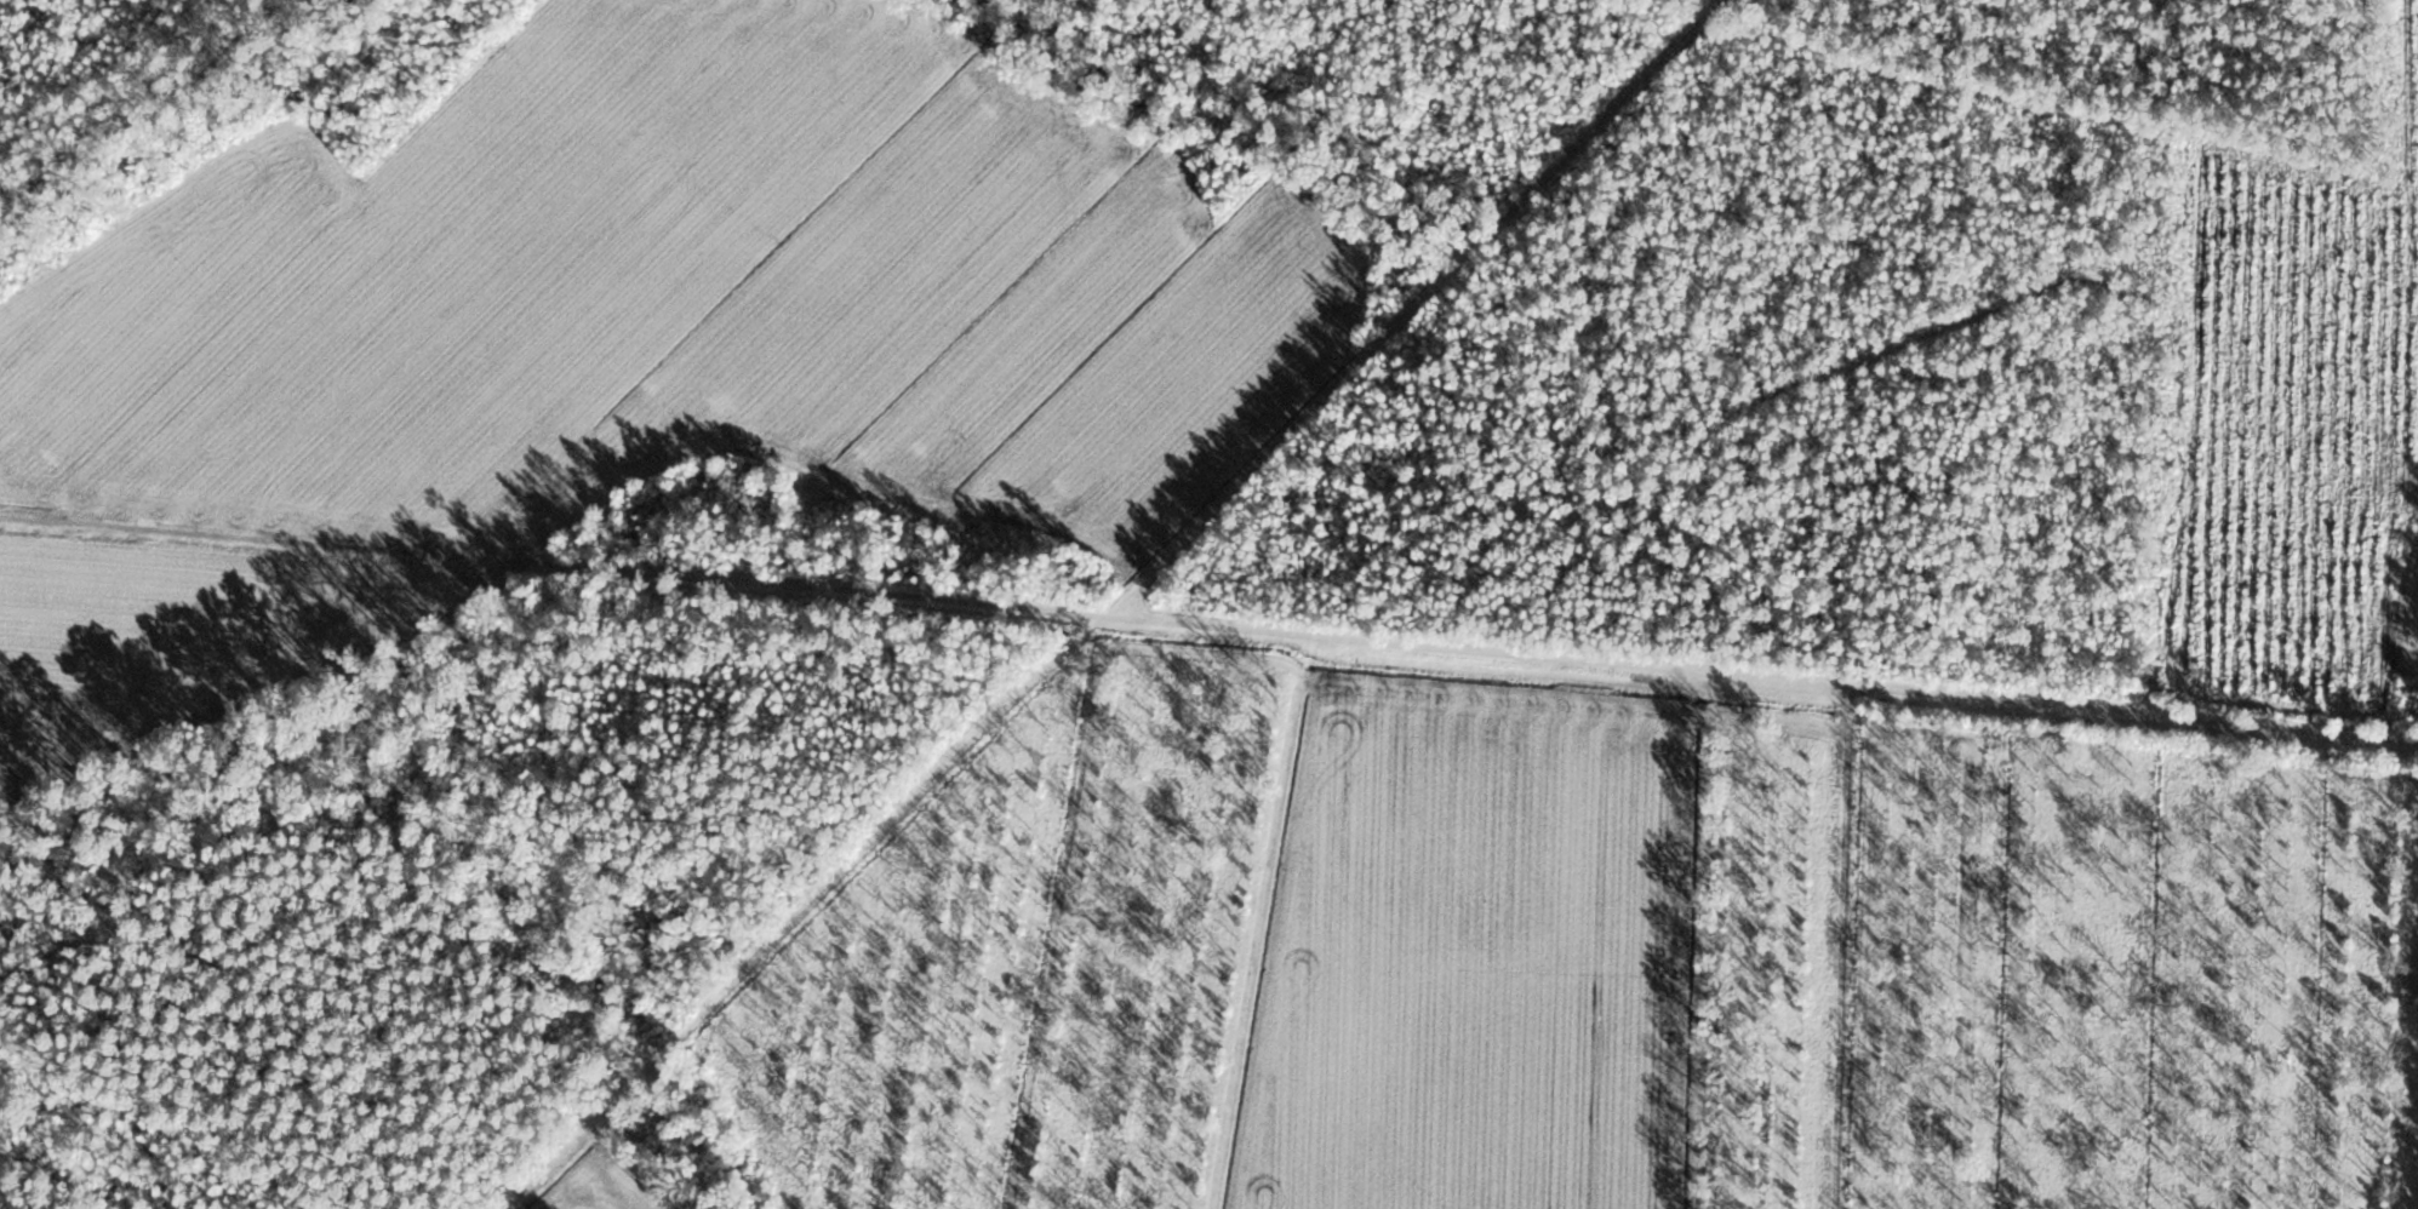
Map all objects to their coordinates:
road: (2391, 626)

